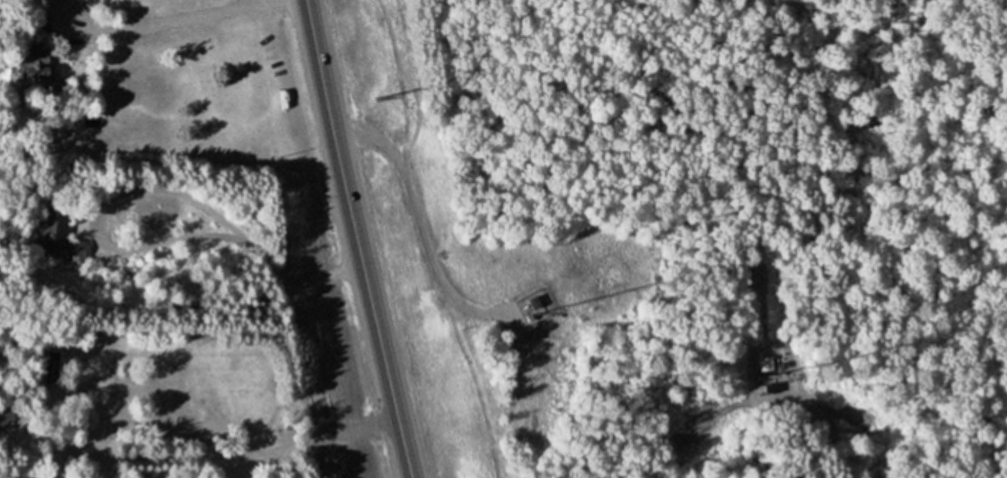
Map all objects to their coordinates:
road: (190, 17)
building: (37, 64)
power tower: (381, 96)
road: (144, 189)
road: (422, 218)
building: (65, 237)
road: (357, 239)
building: (766, 364)
road: (341, 432)

